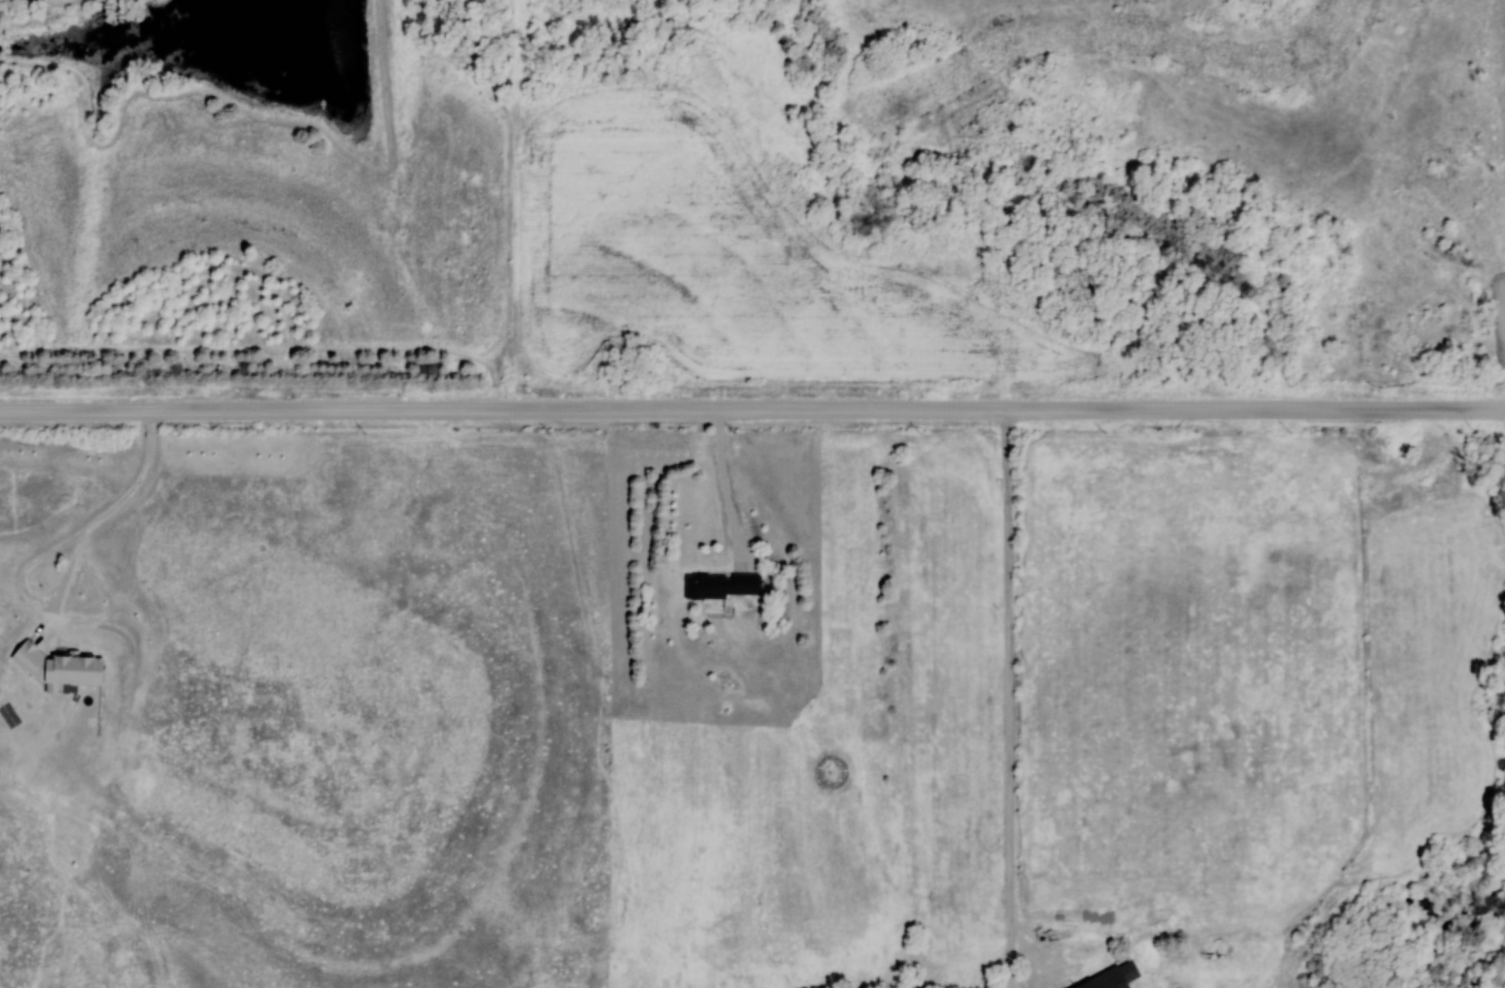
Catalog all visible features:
parking lot: (1499, 313)
road: (752, 410)
road: (725, 490)
road: (62, 547)
building: (720, 586)
building: (29, 656)
road: (1009, 698)

